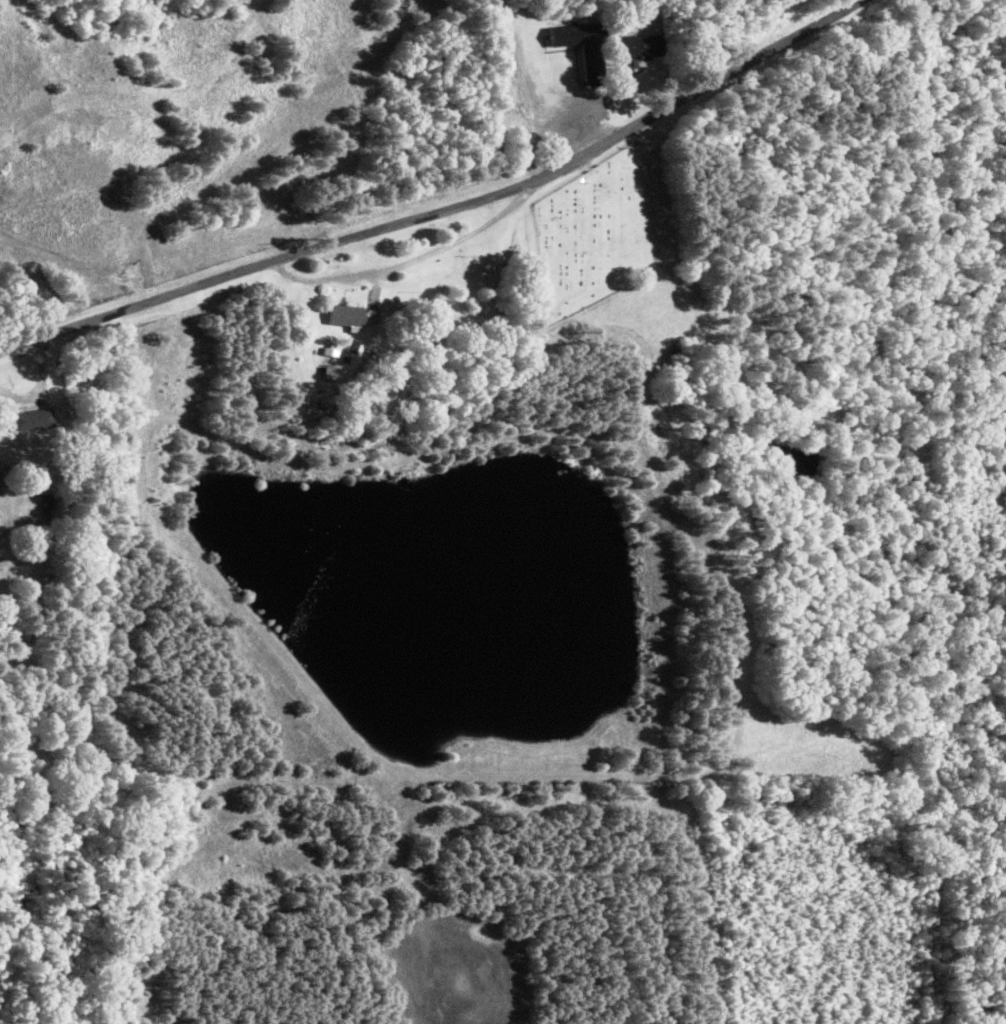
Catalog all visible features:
building: (627, 50)
building: (569, 52)
road: (484, 71)
road: (389, 177)
building: (343, 318)
building: (24, 422)

